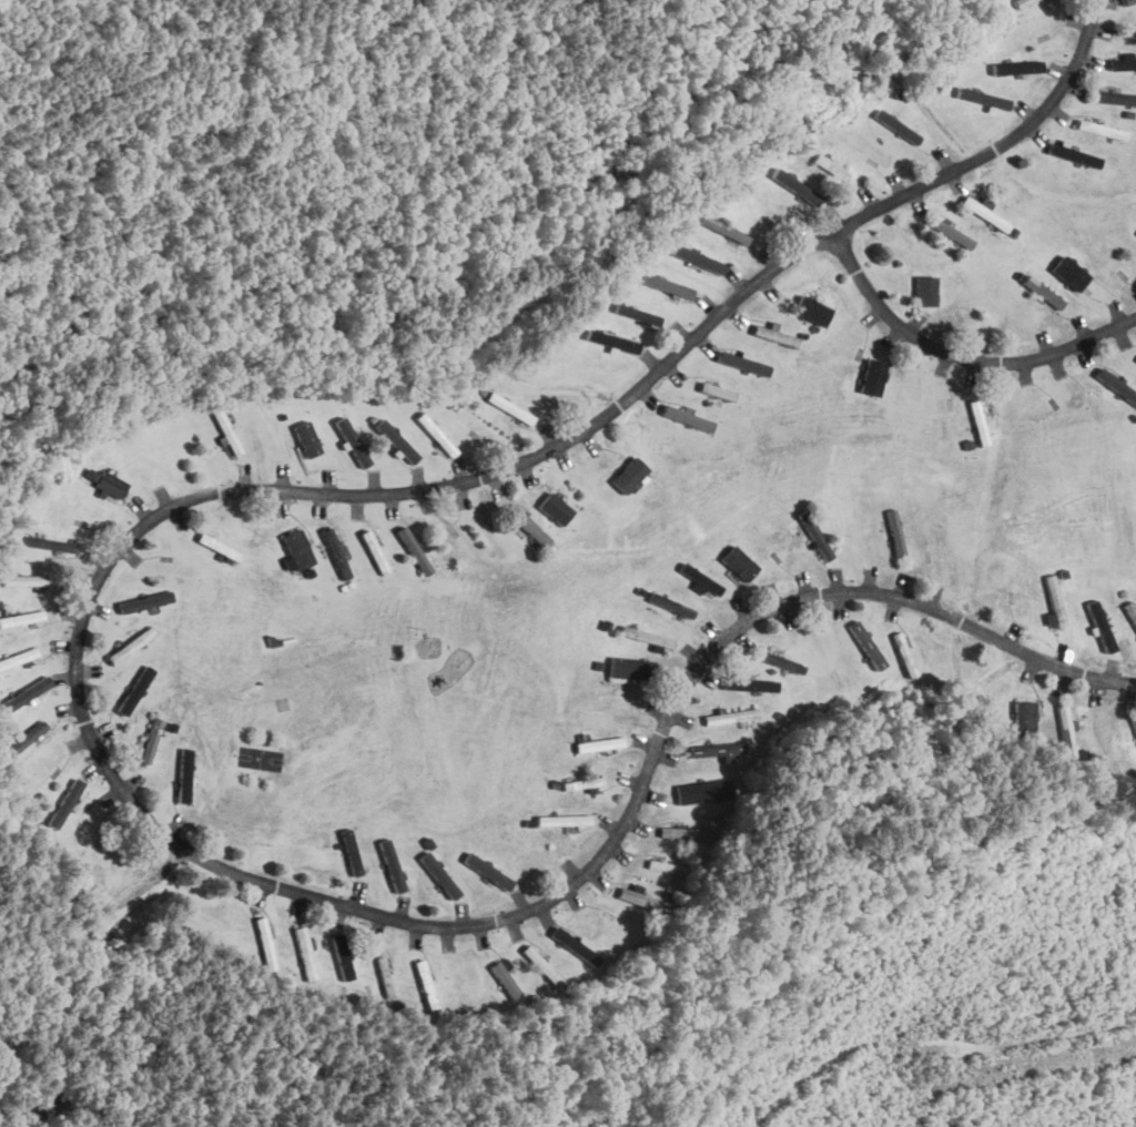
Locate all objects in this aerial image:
building: (1127, 1)
building: (1018, 2)
building: (1123, 62)
building: (1015, 67)
building: (1114, 97)
building: (895, 125)
building: (1098, 129)
building: (1072, 154)
building: (794, 186)
building: (724, 230)
building: (952, 233)
building: (697, 258)
building: (1068, 273)
building: (666, 285)
building: (924, 291)
building: (811, 311)
building: (641, 316)
building: (773, 335)
building: (610, 341)
road: (960, 357)
building: (1135, 359)
building: (741, 363)
building: (871, 376)
building: (1116, 385)
building: (716, 392)
building: (509, 407)
building: (679, 415)
building: (307, 438)
building: (352, 440)
building: (397, 440)
building: (414, 444)
building: (627, 475)
building: (108, 481)
building: (555, 508)
building: (528, 526)
building: (893, 532)
building: (813, 535)
building: (858, 539)
building: (44, 542)
building: (219, 546)
building: (334, 549)
building: (296, 550)
building: (936, 554)
building: (738, 562)
building: (699, 578)
building: (28, 579)
building: (1016, 588)
building: (145, 601)
building: (1053, 601)
building: (669, 605)
building: (21, 618)
building: (643, 637)
building: (864, 644)
building: (129, 646)
building: (779, 661)
building: (626, 668)
building: (748, 684)
building: (32, 689)
building: (135, 689)
road: (77, 693)
building: (613, 705)
building: (1023, 715)
building: (719, 718)
building: (1134, 722)
building: (1065, 731)
building: (31, 733)
building: (1104, 734)
building: (151, 740)
building: (598, 744)
building: (716, 749)
building: (185, 774)
building: (581, 783)
building: (702, 791)
building: (65, 802)
building: (562, 820)
building: (684, 832)
building: (352, 855)
building: (392, 864)
building: (488, 870)
building: (443, 877)
building: (631, 896)
building: (597, 921)
building: (301, 934)
building: (342, 955)
building: (505, 976)

